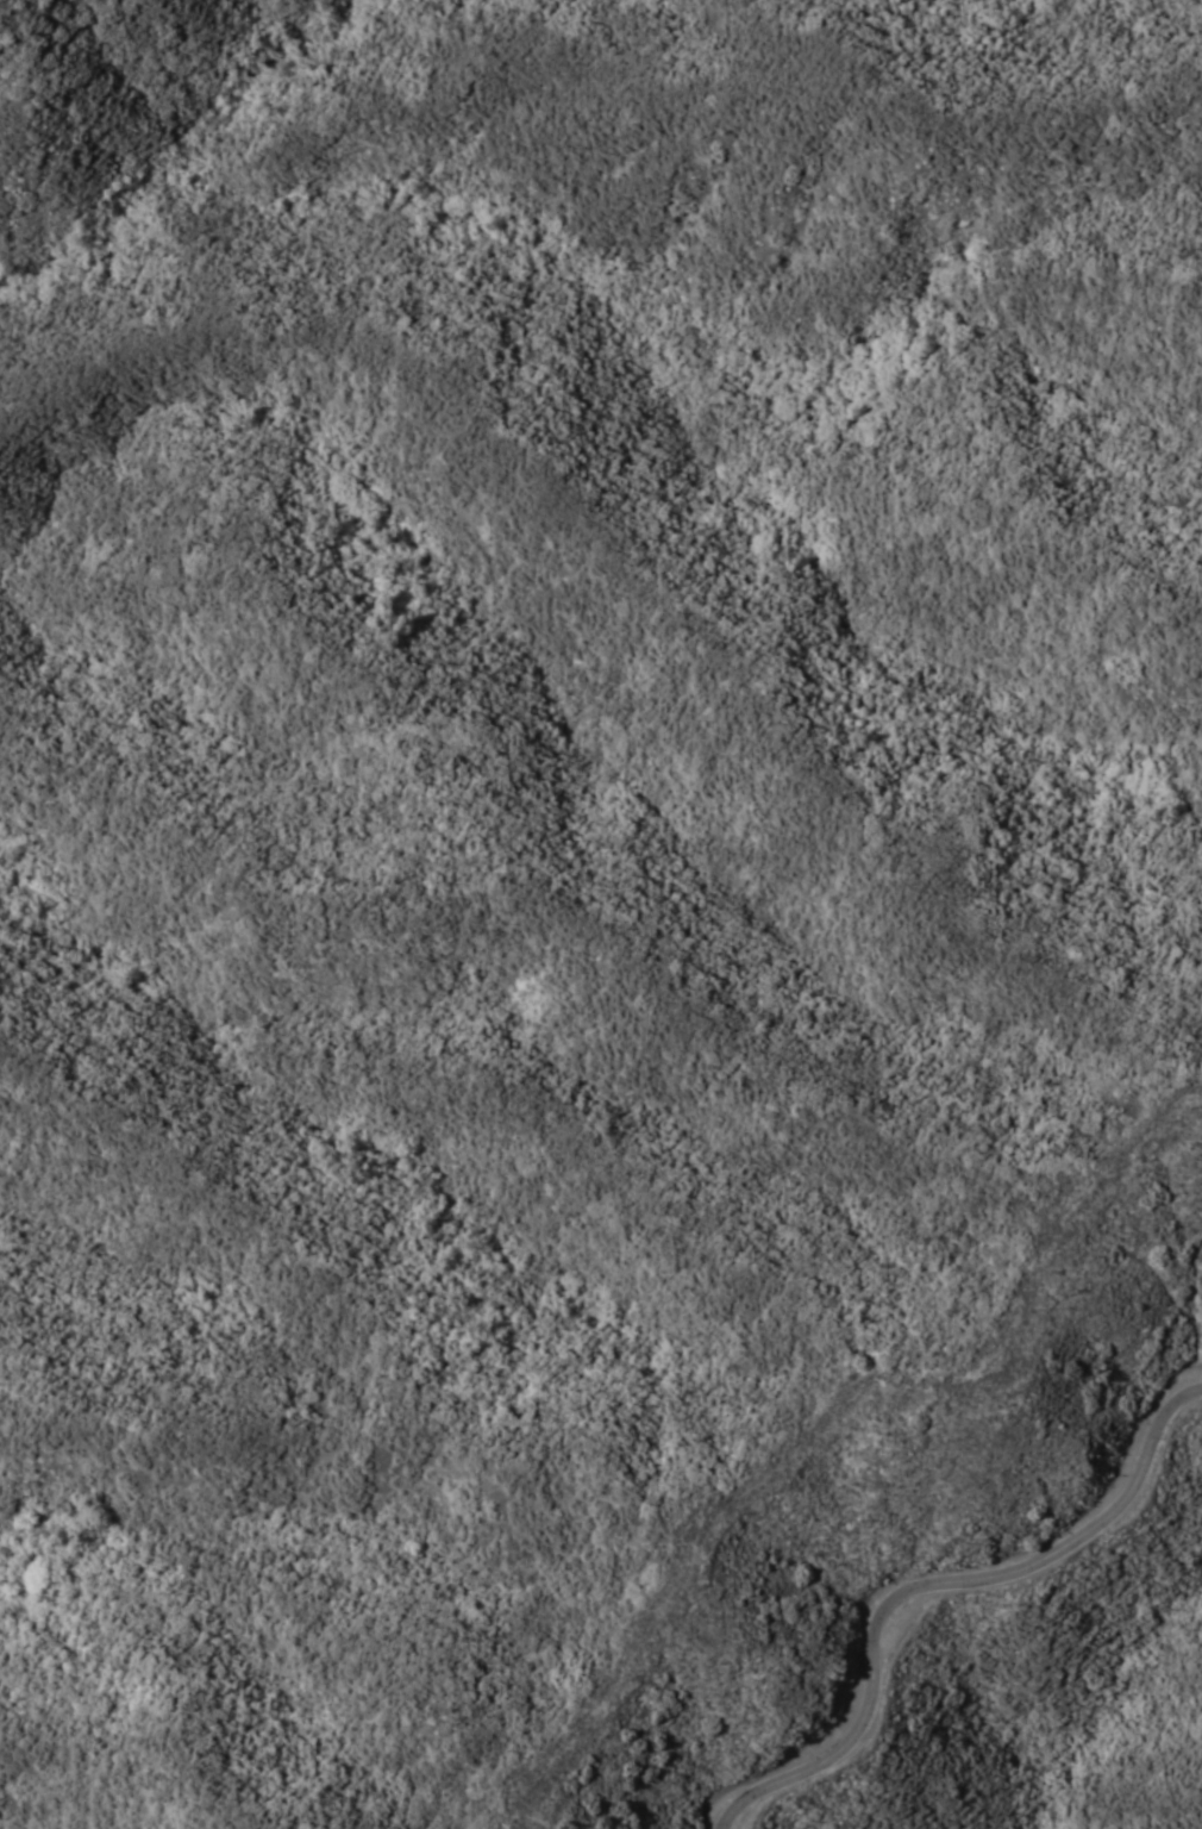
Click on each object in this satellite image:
road: (934, 1583)

